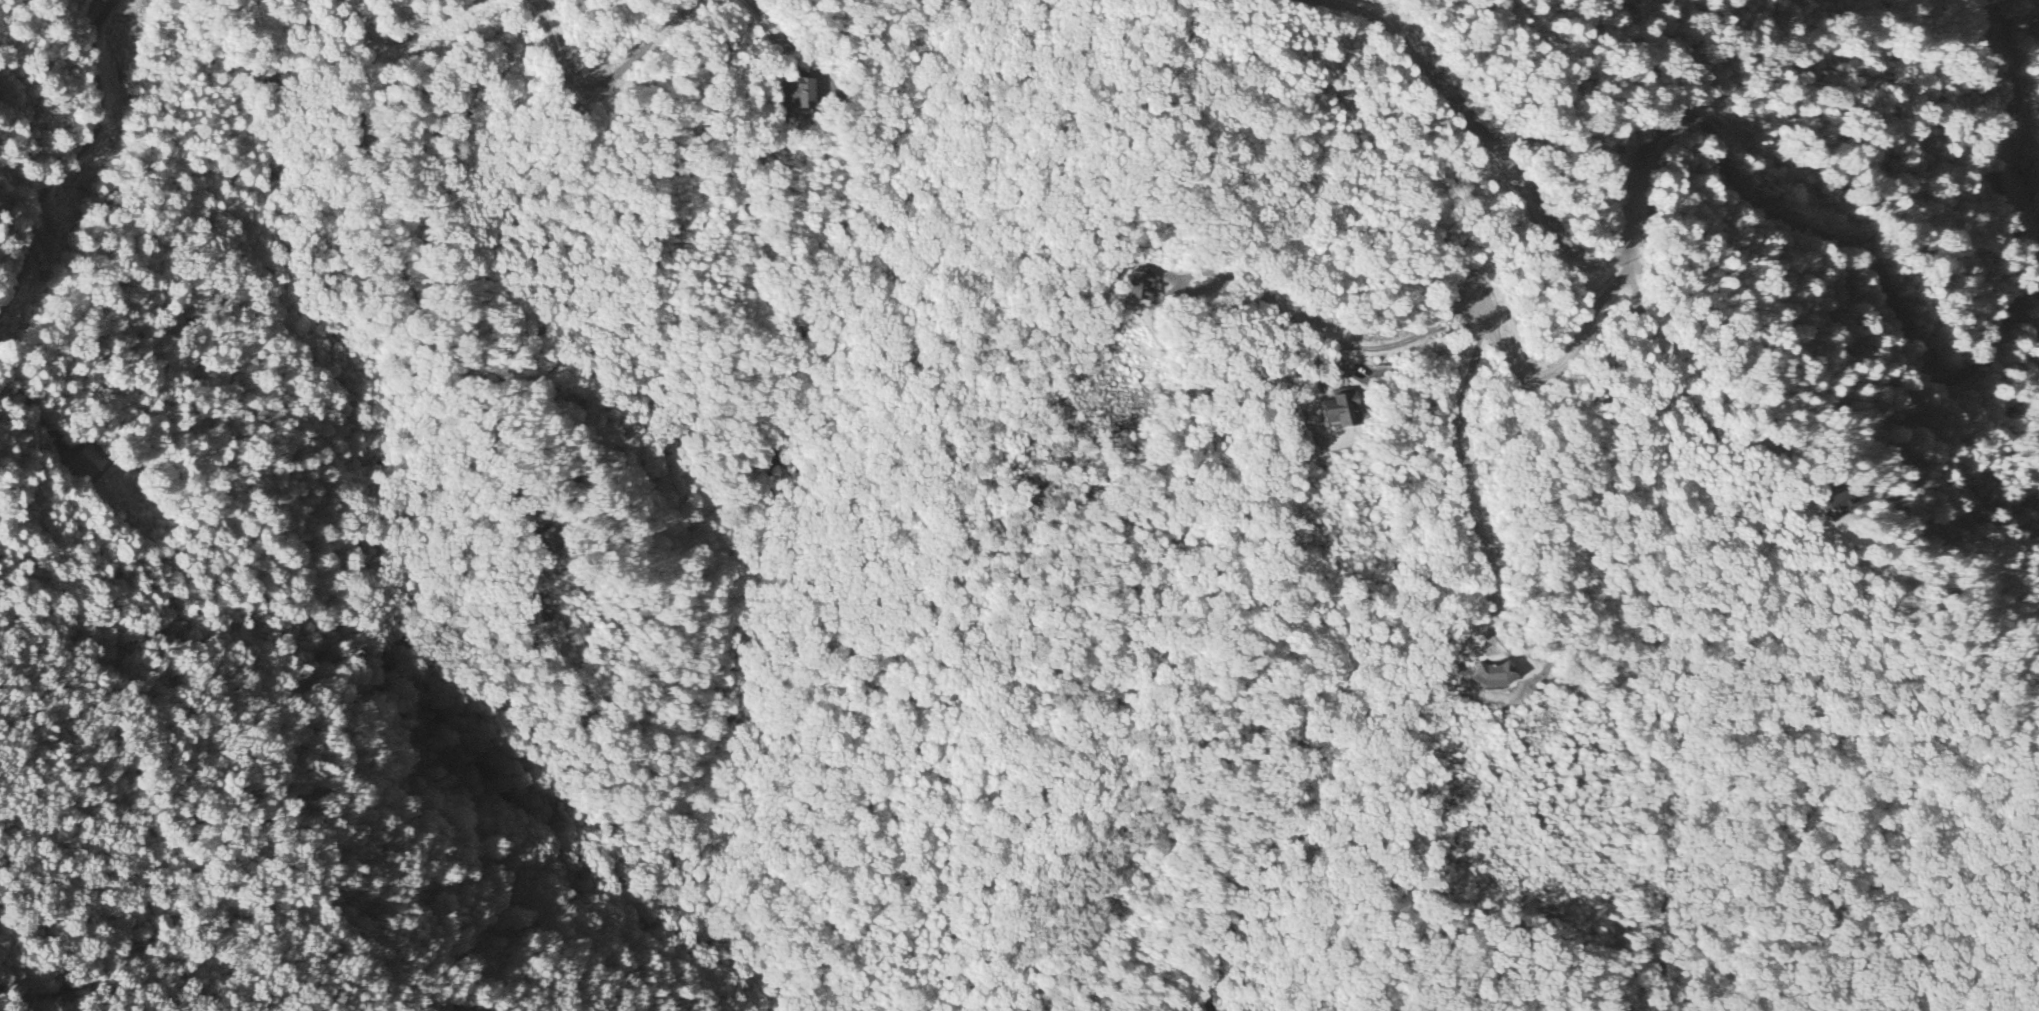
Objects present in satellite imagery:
road: (681, 1)
road: (768, 32)
road: (404, 39)
road: (594, 81)
building: (804, 93)
road: (1486, 142)
road: (72, 155)
road: (1819, 236)
building: (1141, 287)
road: (1445, 319)
building: (1341, 409)
road: (1767, 444)
building: (83, 463)
road: (1461, 484)
building: (1839, 504)
building: (548, 538)
building: (1496, 677)

